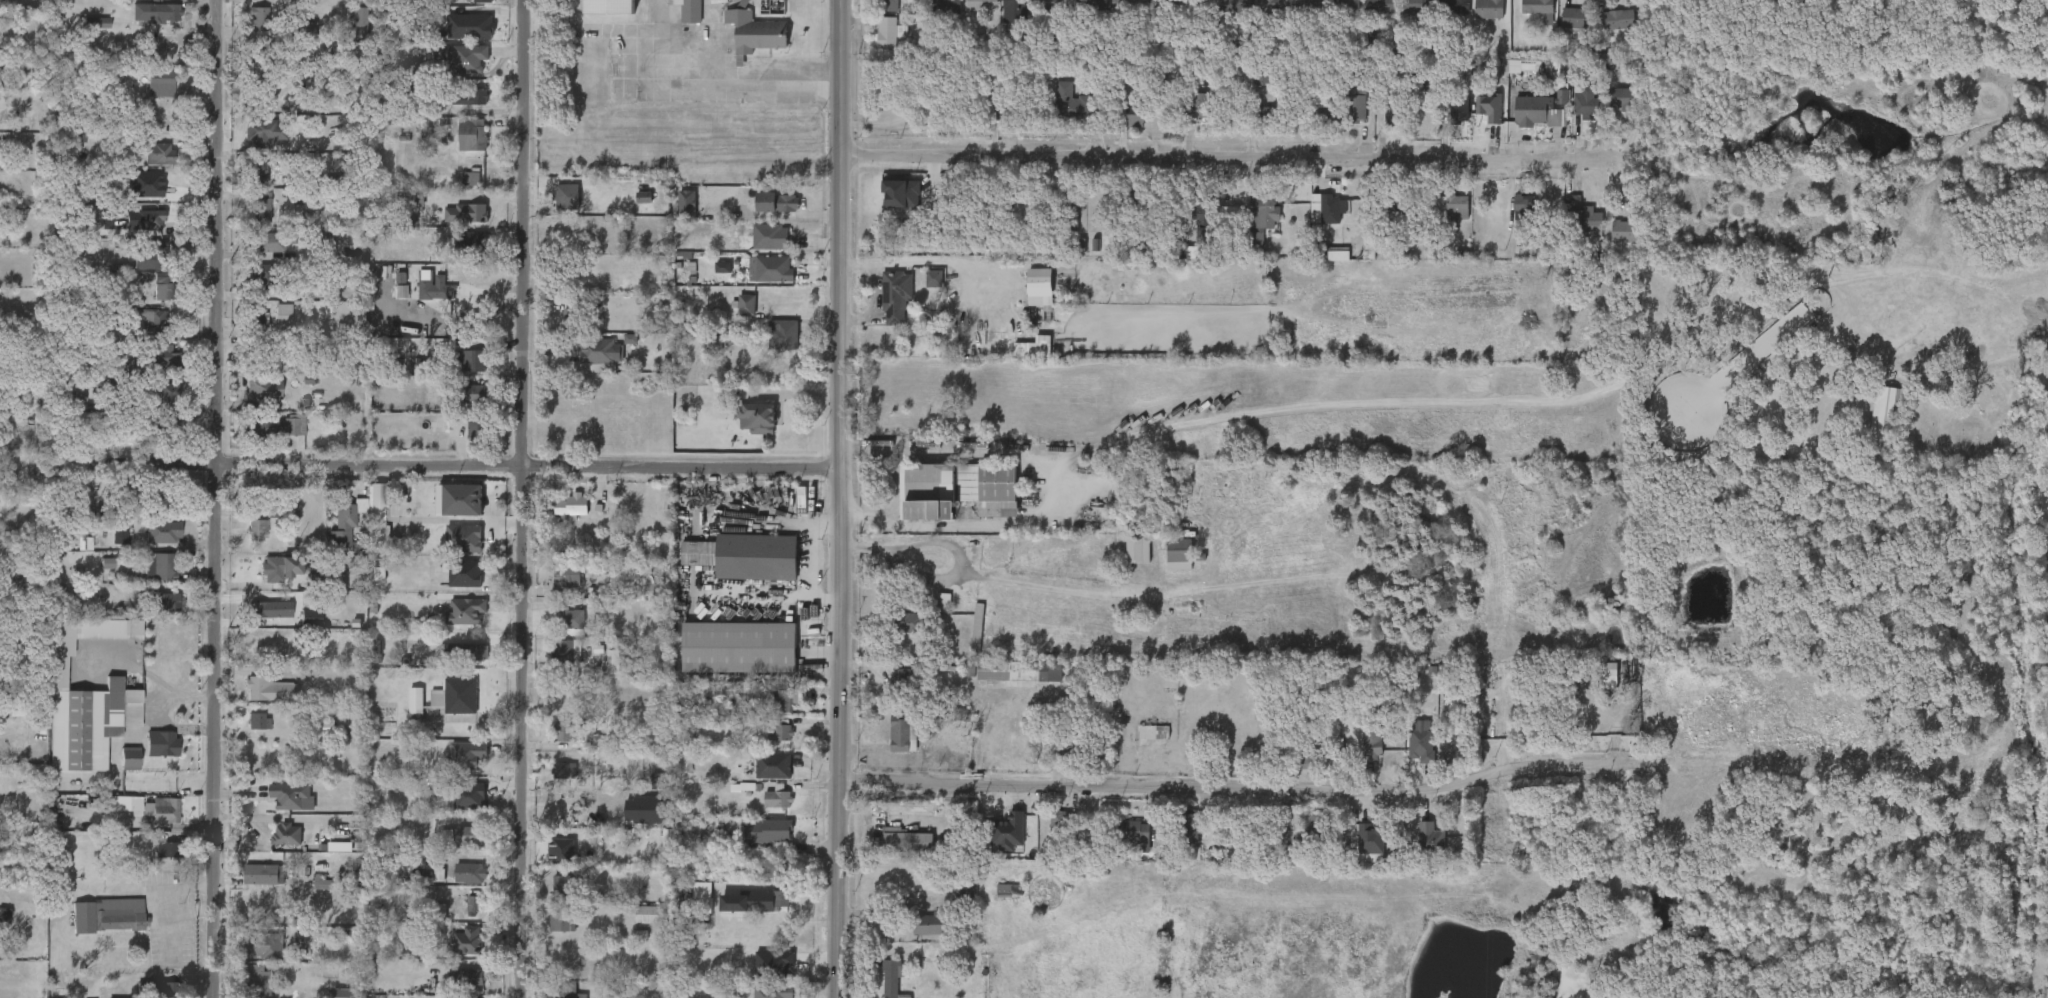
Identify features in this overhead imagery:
building: (482, 0)
building: (125, 1)
building: (154, 1)
building: (1054, 4)
building: (887, 5)
building: (945, 5)
building: (981, 5)
building: (1232, 5)
building: (1274, 5)
building: (1309, 5)
building: (1344, 6)
building: (1381, 6)
building: (1418, 6)
building: (1454, 6)
building: (470, 7)
building: (1488, 8)
building: (1539, 8)
building: (1015, 10)
building: (691, 11)
building: (155, 12)
building: (1038, 13)
building: (1141, 13)
building: (967, 14)
building: (1082, 14)
building: (1113, 14)
building: (1221, 14)
building: (1294, 14)
building: (932, 15)
building: (1257, 15)
building: (1330, 16)
building: (1367, 16)
building: (1402, 16)
building: (1577, 16)
building: (1440, 17)
building: (1617, 18)
building: (1475, 19)
building: (1525, 20)
building: (96, 22)
building: (1001, 22)
building: (142, 25)
building: (677, 26)
building: (346, 29)
building: (1561, 30)
building: (754, 31)
building: (886, 32)
building: (1603, 32)
building: (246, 34)
building: (83, 35)
building: (456, 39)
building: (294, 42)
building: (742, 44)
building: (876, 45)
building: (468, 58)
building: (448, 70)
building: (1264, 75)
road: (714, 80)
building: (160, 82)
building: (1248, 92)
building: (147, 95)
building: (1562, 96)
building: (1355, 98)
building: (1620, 99)
building: (1585, 100)
building: (1070, 102)
building: (1200, 105)
building: (1489, 106)
building: (1459, 107)
building: (1394, 108)
building: (1548, 109)
building: (456, 110)
building: (1530, 110)
building: (1607, 111)
building: (1135, 112)
building: (1264, 114)
building: (1329, 114)
building: (1343, 114)
building: (1056, 115)
building: (1571, 115)
building: (1185, 118)
building: (1445, 119)
building: (1476, 120)
building: (1516, 122)
building: (1249, 123)
building: (1378, 124)
building: (1120, 126)
building: (1315, 126)
building: (1544, 130)
building: (264, 132)
building: (473, 135)
building: (252, 146)
building: (459, 147)
building: (157, 153)
road: (1225, 157)
building: (145, 166)
building: (244, 187)
building: (458, 191)
building: (565, 193)
building: (775, 202)
building: (888, 206)
building: (1456, 206)
building: (1526, 207)
building: (554, 208)
building: (1325, 209)
building: (630, 210)
building: (465, 213)
building: (1201, 214)
building: (673, 215)
building: (764, 215)
building: (1261, 217)
building: (247, 218)
building: (1510, 218)
building: (1382, 219)
building: (1443, 220)
building: (1312, 221)
building: (1584, 221)
building: (453, 226)
building: (1248, 231)
building: (1621, 231)
building: (130, 232)
building: (1189, 232)
building: (1571, 233)
building: (771, 236)
building: (272, 242)
building: (1609, 244)
building: (156, 249)
building: (758, 249)
building: (456, 253)
building: (261, 255)
building: (1355, 259)
building: (142, 263)
building: (771, 269)
building: (264, 278)
building: (709, 280)
building: (756, 282)
building: (1037, 285)
building: (248, 287)
building: (432, 288)
building: (920, 291)
building: (894, 295)
building: (1026, 300)
building: (428, 301)
building: (149, 304)
building: (745, 304)
building: (882, 307)
building: (733, 317)
building: (243, 327)
building: (269, 327)
building: (555, 327)
building: (138, 333)
building: (782, 334)
building: (961, 342)
building: (998, 342)
building: (769, 347)
building: (607, 350)
building: (951, 356)
building: (163, 360)
building: (471, 361)
building: (587, 364)
building: (128, 367)
building: (151, 370)
building: (458, 373)
building: (114, 378)
building: (476, 395)
building: (250, 401)
building: (155, 404)
building: (462, 406)
building: (755, 418)
building: (274, 426)
building: (1869, 426)
building: (160, 428)
building: (743, 430)
building: (478, 432)
building: (158, 437)
building: (264, 439)
building: (463, 442)
road: (452, 466)
building: (1230, 484)
building: (953, 490)
building: (379, 496)
building: (1218, 497)
road: (222, 498)
road: (522, 499)
road: (840, 499)
building: (463, 500)
building: (449, 512)
building: (559, 518)
building: (342, 527)
building: (255, 530)
building: (161, 532)
building: (365, 532)
building: (332, 534)
building: (463, 537)
road: (946, 541)
building: (244, 542)
building: (149, 544)
building: (106, 548)
building: (450, 550)
building: (1176, 550)
building: (745, 556)
building: (1124, 561)
building: (685, 565)
building: (159, 566)
building: (1165, 566)
building: (282, 568)
building: (568, 575)
building: (146, 579)
building: (266, 580)
building: (366, 586)
building: (451, 586)
building: (554, 590)
building: (941, 600)
building: (167, 601)
building: (463, 609)
building: (269, 610)
building: (929, 613)
building: (154, 615)
building: (569, 619)
building: (256, 621)
building: (452, 623)
building: (906, 623)
building: (975, 628)
building: (297, 629)
building: (559, 631)
building: (894, 634)
building: (964, 637)
building: (738, 647)
building: (465, 651)
building: (563, 651)
building: (612, 661)
building: (448, 663)
building: (554, 663)
building: (364, 668)
building: (1011, 670)
building: (599, 674)
building: (901, 680)
building: (955, 680)
building: (1594, 681)
building: (1006, 683)
building: (269, 688)
building: (888, 689)
building: (456, 695)
building: (782, 700)
building: (259, 702)
building: (443, 708)
building: (771, 712)
building: (402, 717)
building: (255, 721)
building: (89, 724)
building: (563, 728)
building: (779, 733)
building: (1151, 733)
building: (245, 734)
building: (899, 734)
building: (550, 741)
building: (161, 743)
building: (766, 744)
building: (1139, 744)
building: (1371, 744)
building: (1423, 745)
building: (889, 746)
building: (148, 756)
building: (1358, 756)
building: (1407, 757)
building: (116, 770)
building: (560, 774)
building: (673, 777)
building: (760, 777)
road: (1231, 786)
building: (645, 793)
building: (292, 796)
building: (777, 798)
building: (279, 808)
building: (456, 808)
building: (649, 809)
building: (764, 811)
building: (121, 816)
building: (638, 820)
building: (1057, 821)
building: (149, 822)
building: (770, 829)
building: (1185, 829)
building: (1045, 832)
building: (286, 833)
building: (1134, 835)
building: (467, 836)
building: (1365, 836)
building: (1291, 837)
building: (1303, 838)
building: (1429, 838)
building: (908, 841)
building: (1176, 841)
building: (754, 843)
building: (994, 843)
building: (560, 846)
building: (273, 847)
building: (1121, 847)
building: (448, 848)
building: (1275, 849)
building: (1416, 849)
building: (893, 852)
building: (1356, 855)
building: (547, 859)
building: (152, 861)
building: (778, 866)
building: (470, 873)
building: (263, 874)
building: (758, 879)
building: (457, 885)
building: (251, 886)
building: (1003, 889)
building: (308, 895)
building: (549, 897)
building: (777, 897)
building: (951, 902)
building: (991, 903)
building: (474, 904)
building: (435, 911)
building: (648, 913)
building: (741, 913)
building: (108, 916)
building: (461, 917)
building: (561, 922)
building: (634, 926)
building: (549, 935)
building: (916, 936)
building: (467, 940)
building: (265, 945)
building: (455, 953)
building: (252, 959)
building: (468, 977)
building: (890, 978)
building: (257, 982)
building: (877, 984)
building: (245, 987)
building: (166, 989)
building: (453, 989)
building: (773, 991)
building: (148, 995)
building: (564, 995)
building: (747, 997)

